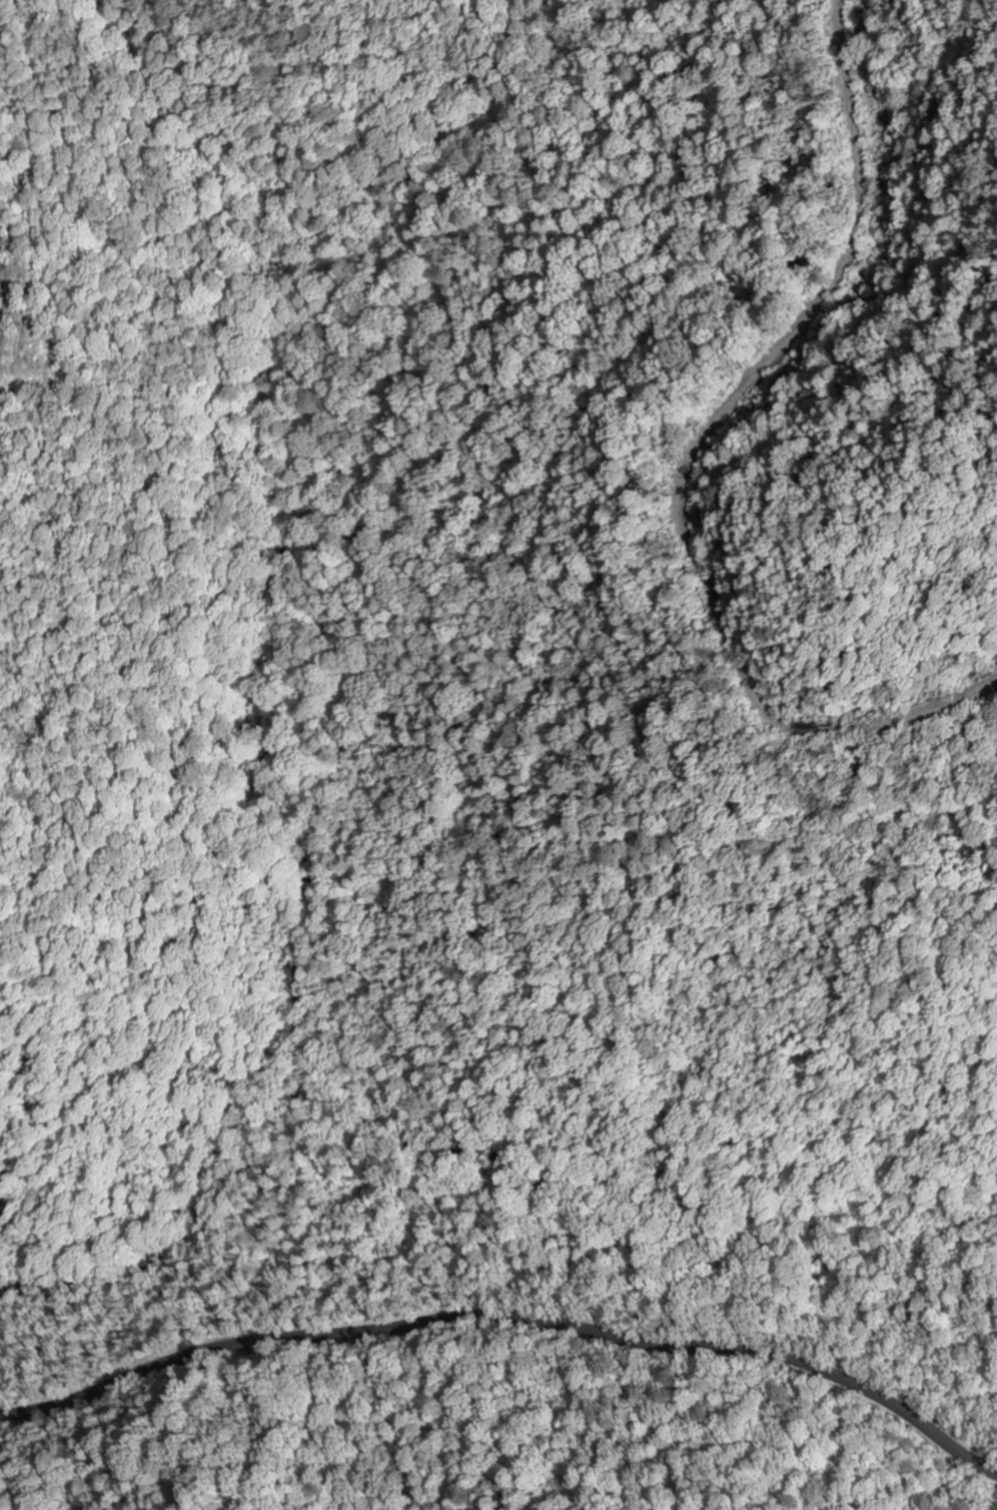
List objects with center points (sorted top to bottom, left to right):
road: (508, 1316)

